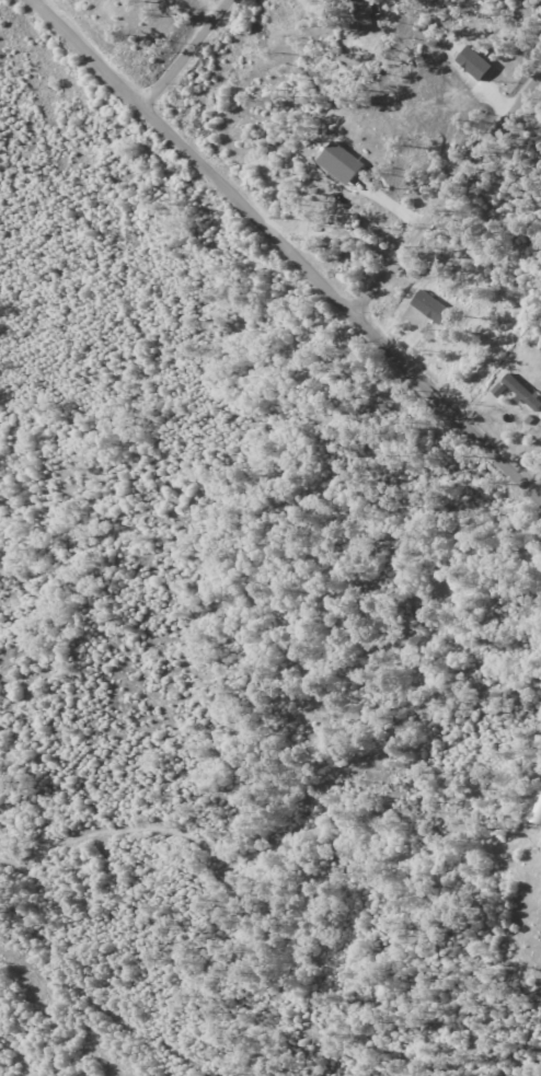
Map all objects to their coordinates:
building: (359, 13)
road: (184, 53)
building: (474, 62)
road: (445, 189)
road: (291, 247)
building: (431, 306)
building: (522, 392)
road: (139, 986)

